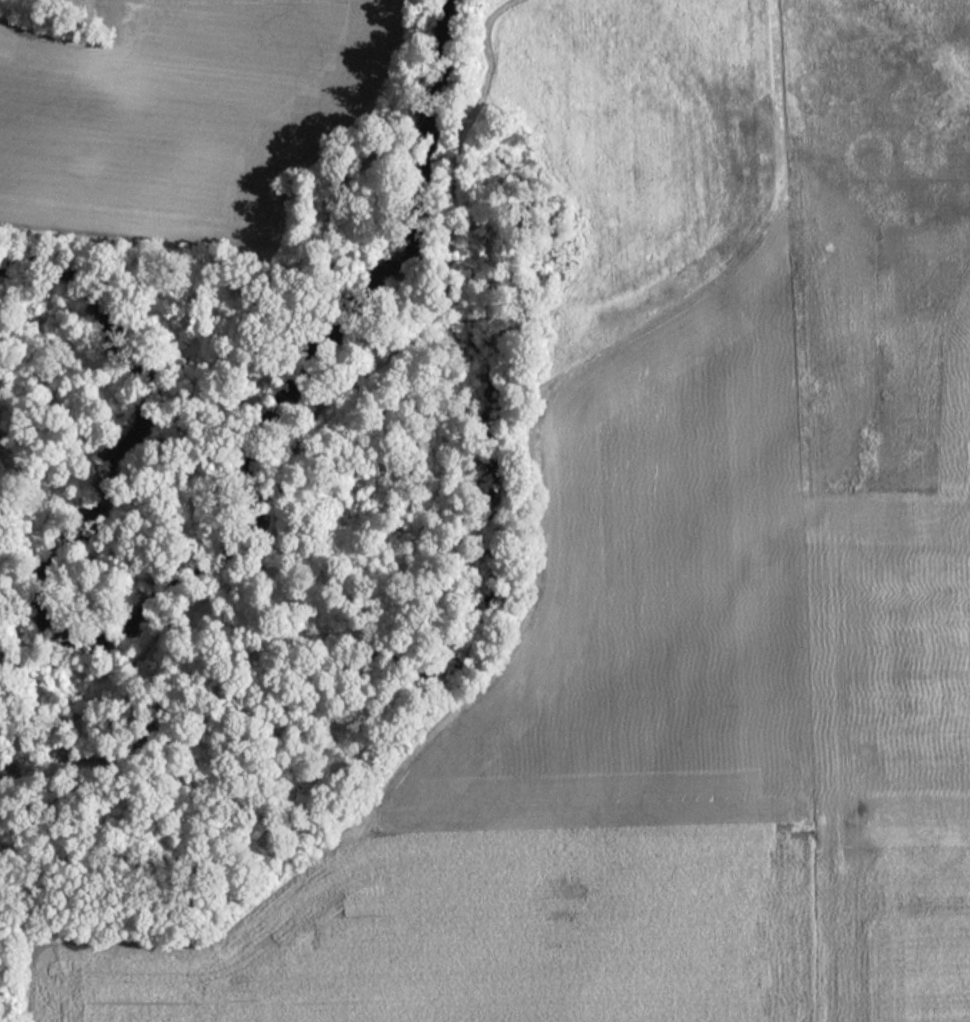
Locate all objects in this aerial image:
crop: (657, 736)

